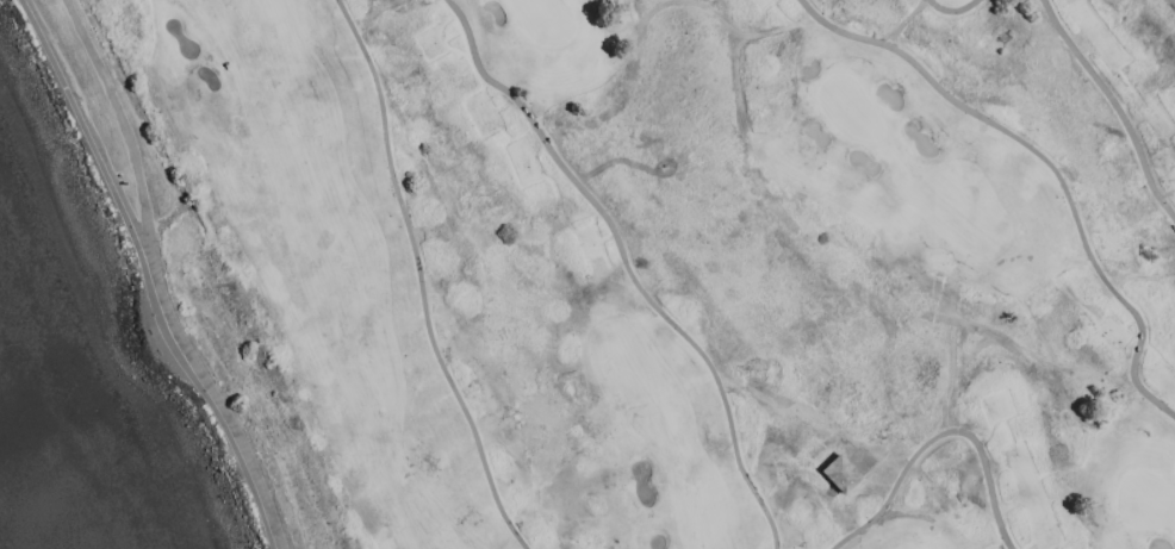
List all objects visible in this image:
park: (543, 20)
park: (850, 111)
road: (99, 163)
park: (692, 262)
road: (158, 281)
building: (839, 474)
park: (1146, 503)

